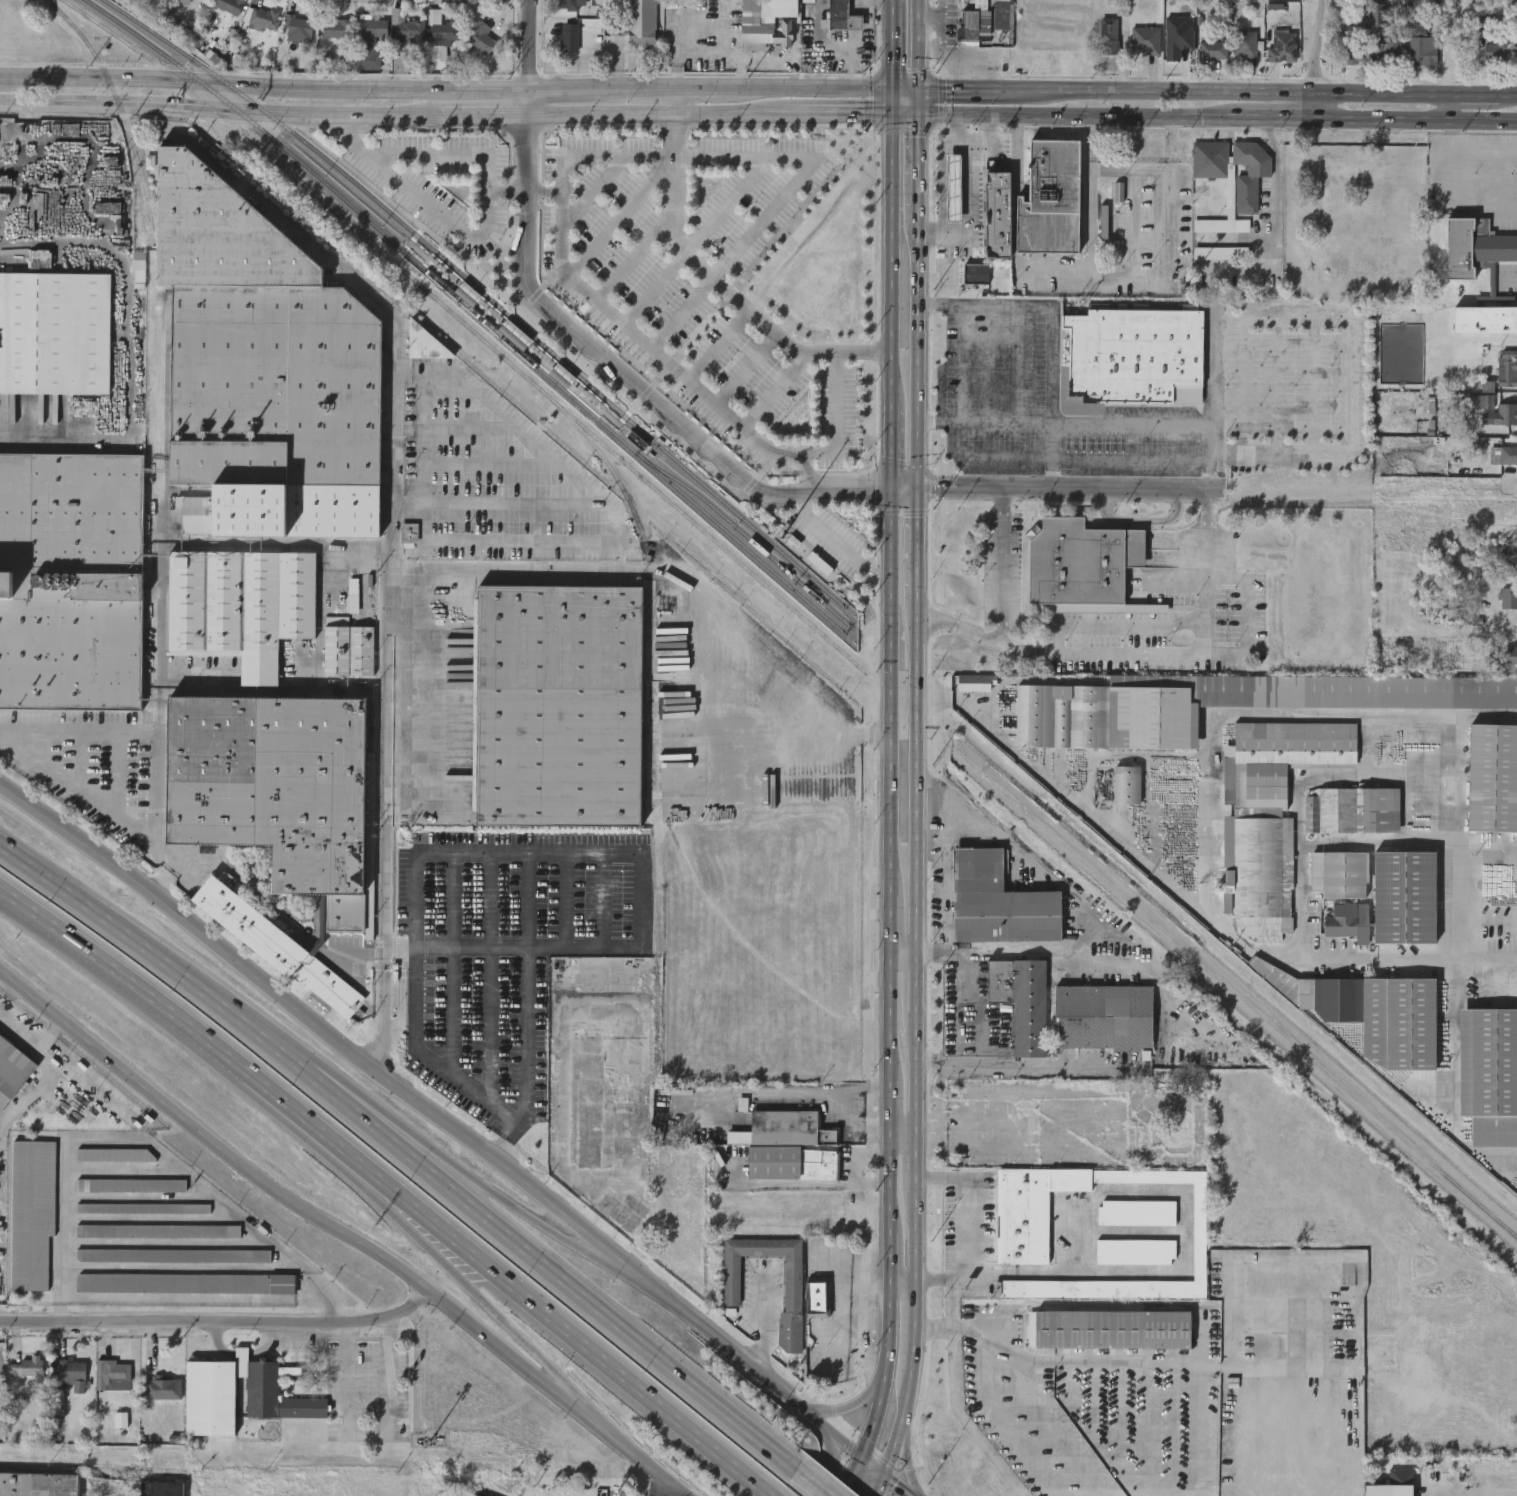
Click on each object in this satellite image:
building: (151, 3)
building: (570, 4)
building: (186, 6)
building: (227, 6)
building: (801, 7)
building: (1003, 14)
building: (222, 16)
building: (840, 17)
building: (260, 19)
building: (974, 22)
building: (829, 25)
building: (296, 28)
building: (336, 29)
building: (761, 30)
building: (408, 31)
building: (445, 31)
building: (257, 32)
building: (633, 32)
building: (1108, 36)
building: (568, 38)
building: (481, 39)
building: (400, 40)
building: (435, 40)
building: (1144, 40)
building: (329, 41)
building: (293, 42)
building: (368, 42)
road: (887, 43)
road: (917, 43)
road: (532, 44)
building: (1245, 44)
building: (1419, 44)
building: (1102, 46)
building: (1281, 47)
building: (1211, 49)
building: (1386, 49)
building: (563, 51)
building: (1497, 51)
building: (476, 52)
building: (1138, 53)
building: (1514, 54)
building: (1349, 55)
building: (1459, 56)
building: (1238, 57)
road: (1310, 58)
building: (1276, 60)
building: (1206, 63)
building: (1415, 63)
building: (1490, 63)
road: (674, 65)
building: (1378, 65)
building: (433, 66)
building: (1514, 66)
building: (1346, 69)
road: (904, 73)
road: (265, 85)
traffic signals: (887, 87)
road: (902, 87)
traffic signals: (917, 87)
road: (709, 88)
road: (1217, 90)
road: (938, 98)
road: (869, 99)
road: (916, 100)
road: (531, 103)
road: (265, 112)
railway: (120, 114)
road: (172, 114)
traffic signals: (887, 114)
traffic signals: (916, 114)
road: (723, 115)
road: (1216, 117)
road: (958, 125)
road: (869, 127)
road: (901, 127)
road: (934, 129)
road: (530, 155)
road: (846, 156)
road: (939, 163)
road: (916, 166)
road: (1129, 170)
building: (1202, 172)
building: (1228, 177)
railway: (359, 186)
parking lot: (443, 186)
road: (563, 186)
road: (1447, 186)
building: (951, 187)
gas station: (951, 187)
building: (1242, 188)
road: (594, 192)
road: (509, 193)
road: (546, 194)
railway: (340, 197)
road: (966, 198)
building: (1050, 200)
building: (1223, 203)
building: (995, 214)
road: (276, 215)
road: (622, 217)
railway: (412, 223)
road: (1274, 226)
road: (483, 232)
building: (1214, 238)
road: (1236, 240)
road: (696, 242)
railway: (430, 253)
road: (636, 257)
road: (409, 265)
building: (1214, 265)
building: (1460, 272)
building: (975, 275)
building: (132, 280)
parking lot: (700, 283)
road: (723, 286)
building: (969, 286)
road: (889, 288)
road: (1041, 306)
building: (1482, 332)
road: (1347, 333)
building: (52, 334)
road: (124, 339)
building: (423, 344)
road: (720, 346)
road: (918, 351)
building: (1135, 357)
road: (961, 363)
road: (747, 369)
building: (1506, 369)
building: (259, 372)
road: (626, 375)
road: (657, 384)
road: (774, 393)
building: (1499, 409)
road: (1093, 425)
building: (1507, 426)
road: (1050, 441)
building: (1508, 455)
road: (1005, 457)
road: (1129, 459)
railway: (608, 467)
building: (1499, 468)
road: (1050, 471)
road: (807, 473)
road: (1065, 484)
traffic signals: (920, 486)
road: (906, 487)
traffic signals: (892, 489)
road: (849, 491)
railway: (719, 500)
road: (1144, 516)
railway: (712, 521)
building: (409, 533)
railway: (744, 534)
road: (919, 541)
road: (835, 543)
parking lot: (836, 544)
building: (403, 546)
building: (1507, 553)
building: (1090, 560)
road: (677, 575)
road: (1185, 577)
building: (71, 582)
building: (352, 595)
building: (1507, 599)
building: (239, 605)
road: (1011, 606)
building: (346, 608)
building: (1501, 610)
railway: (795, 611)
road: (1254, 617)
building: (1066, 619)
road: (1126, 622)
road: (386, 641)
building: (346, 647)
road: (1186, 647)
building: (1506, 656)
building: (1505, 668)
building: (1470, 670)
building: (976, 682)
road: (211, 690)
building: (969, 695)
building: (556, 705)
building: (1220, 705)
road: (131, 735)
road: (78, 764)
road: (918, 773)
road: (115, 776)
building: (1493, 778)
building: (1125, 786)
building: (272, 789)
road: (76, 792)
building: (1350, 811)
building: (1270, 814)
road: (1016, 852)
road: (473, 853)
road: (166, 869)
building: (1340, 874)
road: (945, 878)
building: (1405, 897)
road: (1187, 902)
building: (999, 903)
road: (1471, 920)
building: (1348, 922)
building: (274, 947)
road: (903, 950)
road: (1079, 952)
road: (401, 954)
road: (157, 957)
road: (451, 964)
road: (526, 975)
road: (918, 981)
road: (887, 996)
building: (1019, 1001)
road: (400, 1009)
road: (966, 1010)
building: (1369, 1012)
building: (1100, 1016)
road: (382, 1020)
road: (196, 1033)
road: (33, 1041)
road: (1028, 1067)
building: (11, 1071)
road: (920, 1071)
building: (1490, 1075)
road: (30, 1090)
road: (351, 1098)
road: (968, 1121)
road: (447, 1124)
road: (905, 1130)
road: (1113, 1147)
road: (497, 1148)
building: (785, 1148)
building: (117, 1154)
road: (921, 1162)
building: (110, 1167)
road: (480, 1183)
building: (130, 1185)
building: (125, 1197)
building: (142, 1208)
building: (1029, 1210)
building: (1134, 1213)
building: (137, 1220)
road: (415, 1224)
building: (26, 1225)
road: (971, 1227)
building: (1110, 1227)
building: (156, 1231)
building: (1197, 1231)
road: (342, 1232)
road: (920, 1236)
building: (152, 1243)
building: (1132, 1251)
building: (172, 1256)
road: (604, 1260)
building: (1128, 1263)
building: (167, 1267)
road: (186, 1267)
road: (553, 1272)
road: (903, 1277)
building: (1192, 1278)
road: (863, 1282)
building: (183, 1283)
building: (806, 1293)
building: (166, 1295)
building: (275, 1296)
road: (196, 1299)
road: (492, 1311)
road: (762, 1321)
road: (221, 1324)
building: (1113, 1330)
road: (912, 1332)
road: (860, 1340)
road: (1309, 1340)
road: (578, 1342)
building: (1264, 1346)
road: (1221, 1365)
building: (27, 1368)
building: (161, 1374)
building: (111, 1375)
building: (24, 1382)
building: (63, 1382)
building: (106, 1387)
building: (208, 1387)
road: (565, 1389)
road: (1093, 1398)
building: (158, 1400)
road: (1121, 1410)
road: (847, 1411)
road: (1004, 1422)
road: (1148, 1427)
road: (1173, 1427)
road: (1051, 1428)
road: (1201, 1429)
building: (115, 1431)
road: (899, 1431)
road: (1249, 1445)
road: (827, 1454)
traffic signals: (863, 1455)
road: (906, 1466)
traffic signals: (886, 1475)
road: (814, 1482)
building: (36, 1484)
road: (880, 1485)
road: (899, 1485)
road: (660, 1488)
building: (1389, 1488)
building: (160, 1489)
building: (473, 1495)

